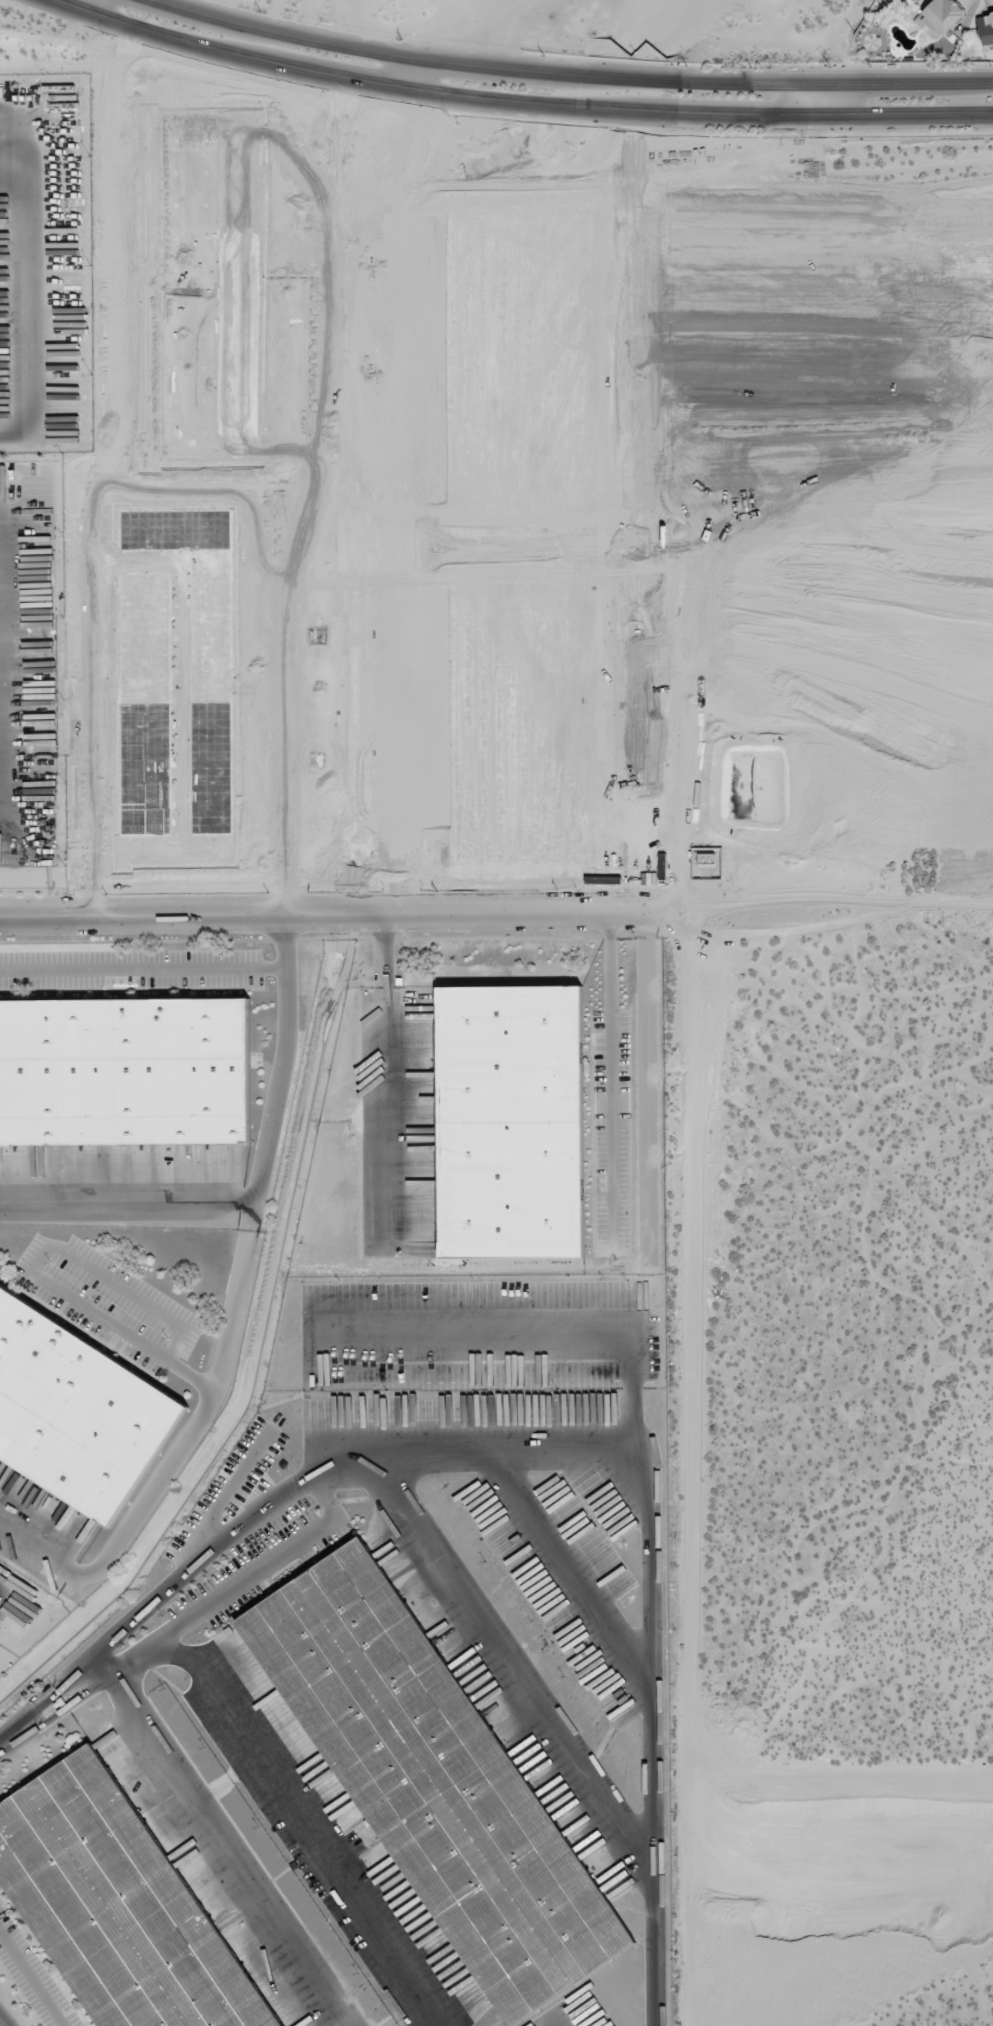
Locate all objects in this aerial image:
road: (69, 4)
road: (82, 4)
road: (183, 13)
building: (942, 15)
building: (985, 28)
road: (159, 33)
road: (315, 45)
road: (492, 66)
road: (320, 72)
road: (405, 73)
road: (697, 78)
road: (906, 78)
road: (819, 95)
road: (505, 99)
road: (713, 112)
road: (906, 112)
road: (327, 915)
road: (143, 969)
building: (128, 1072)
road: (610, 1081)
building: (517, 1122)
road: (256, 1188)
road: (251, 1219)
road: (32, 1269)
building: (74, 1411)
road: (555, 1437)
road: (173, 1459)
building: (430, 1783)
road: (220, 1839)
building: (118, 1907)
road: (31, 1980)
road: (1, 2024)

